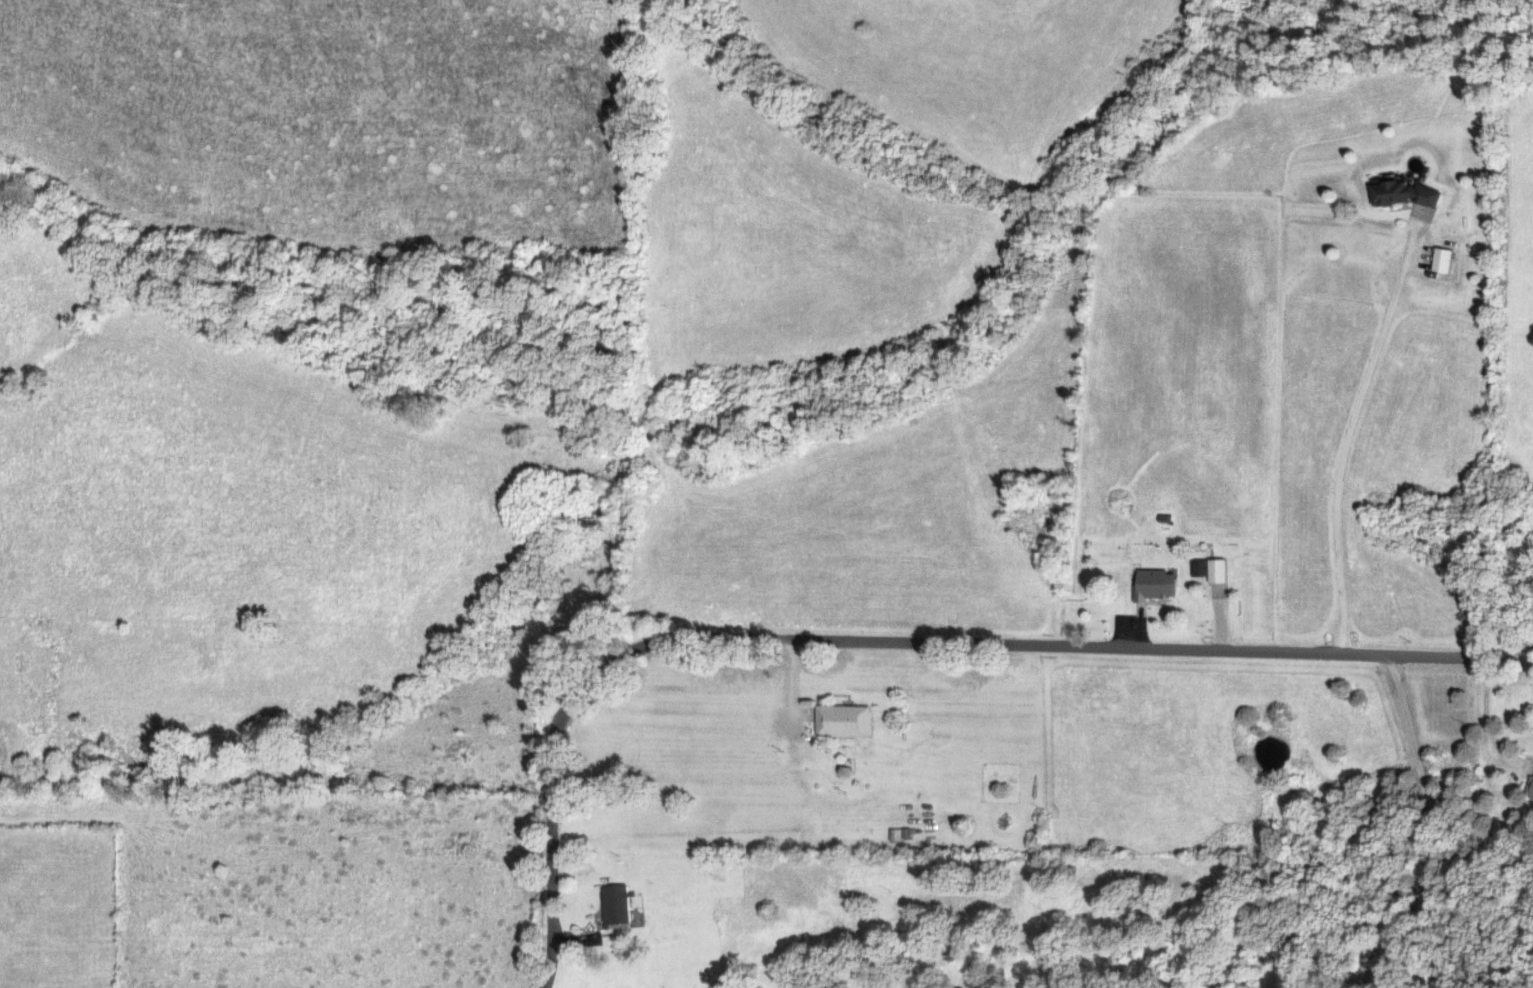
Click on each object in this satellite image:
building: (1408, 194)
building: (1447, 259)
road: (1351, 430)
building: (1204, 568)
building: (1224, 571)
building: (1161, 586)
road: (1220, 617)
road: (895, 640)
building: (847, 721)
road: (1484, 721)
road: (1433, 830)
building: (620, 906)

